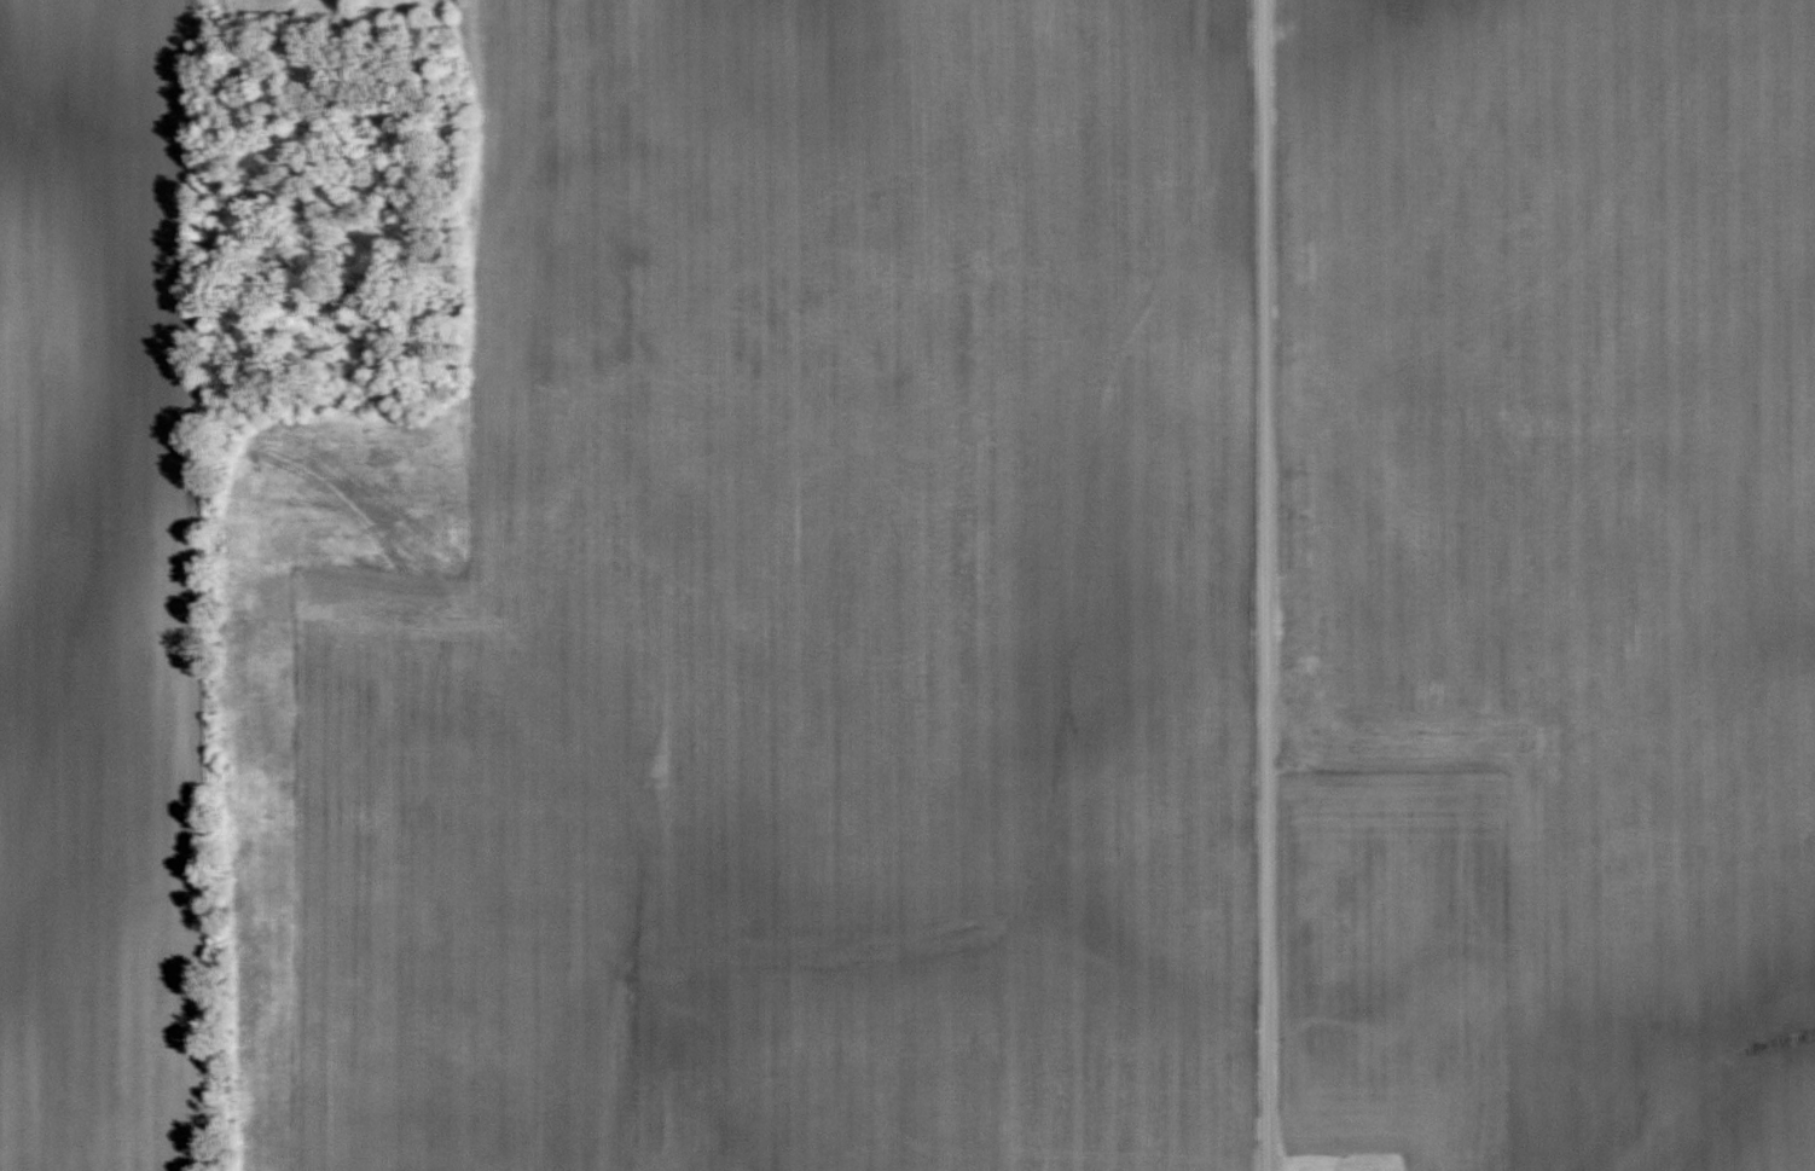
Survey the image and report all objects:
road: (1265, 585)

